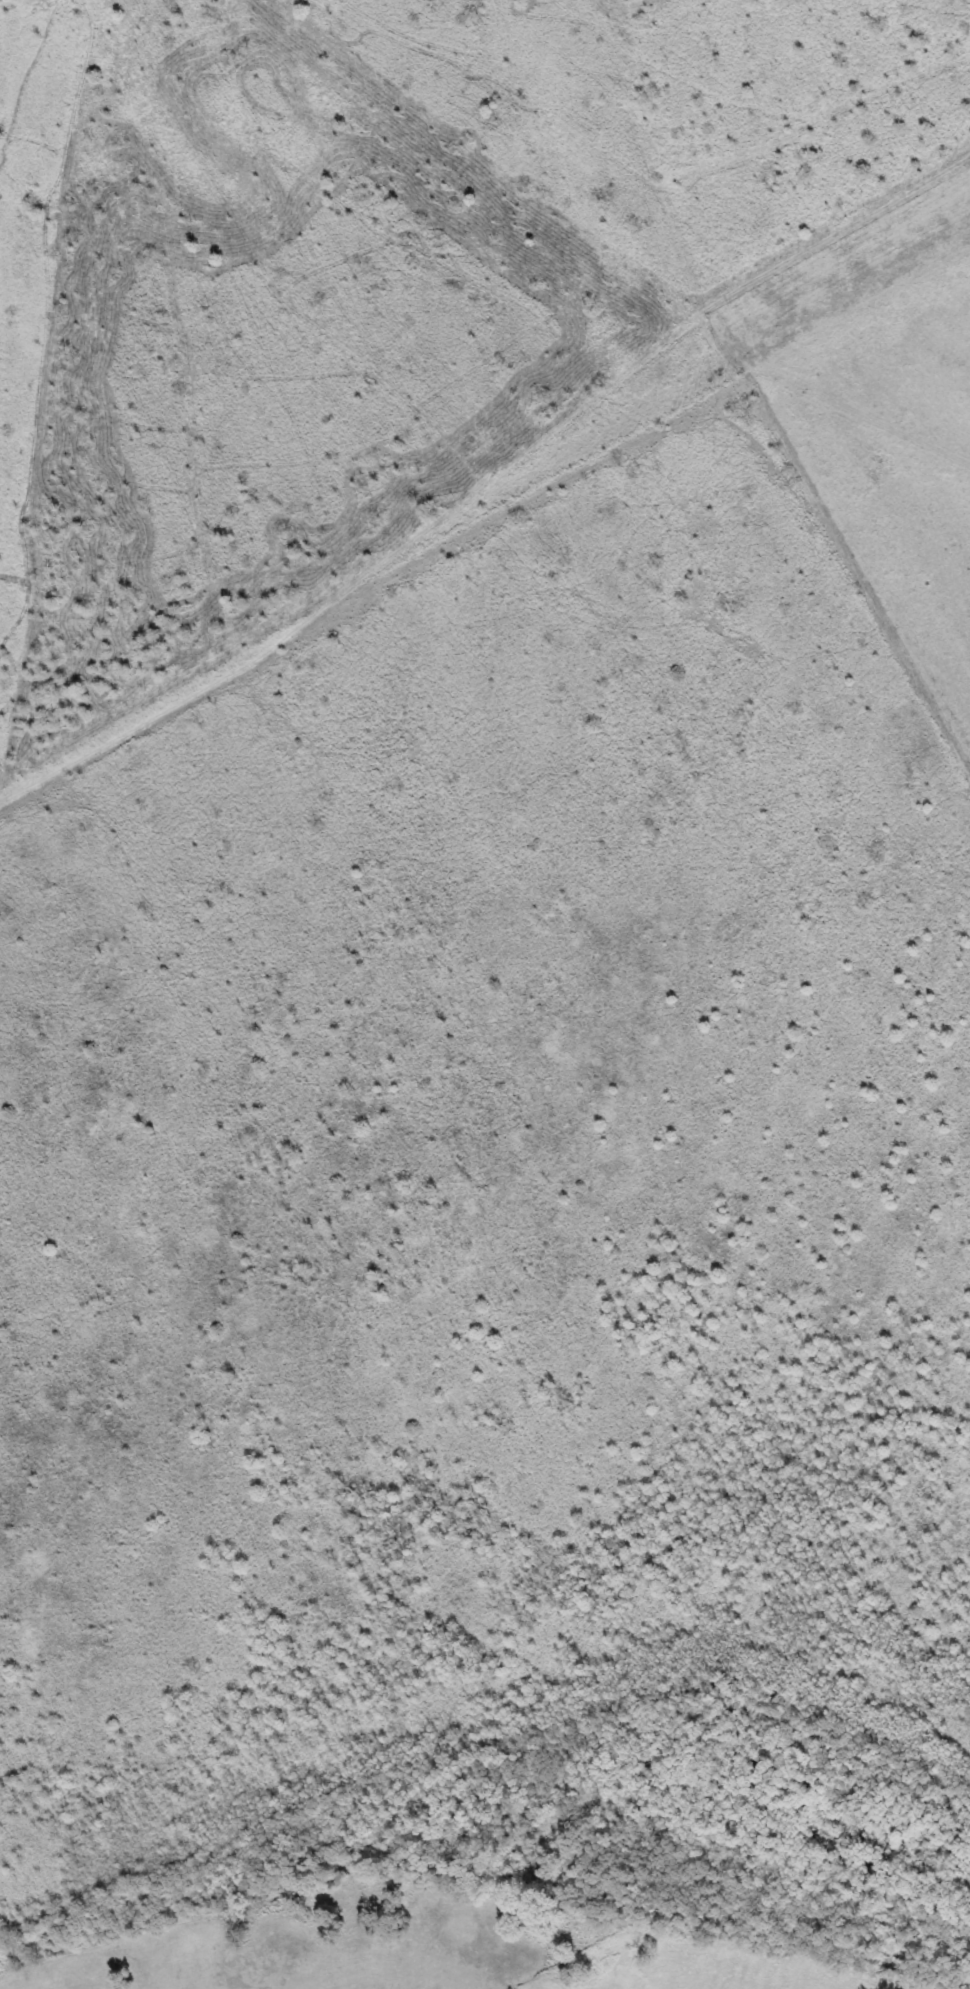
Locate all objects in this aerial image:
road: (558, 482)

